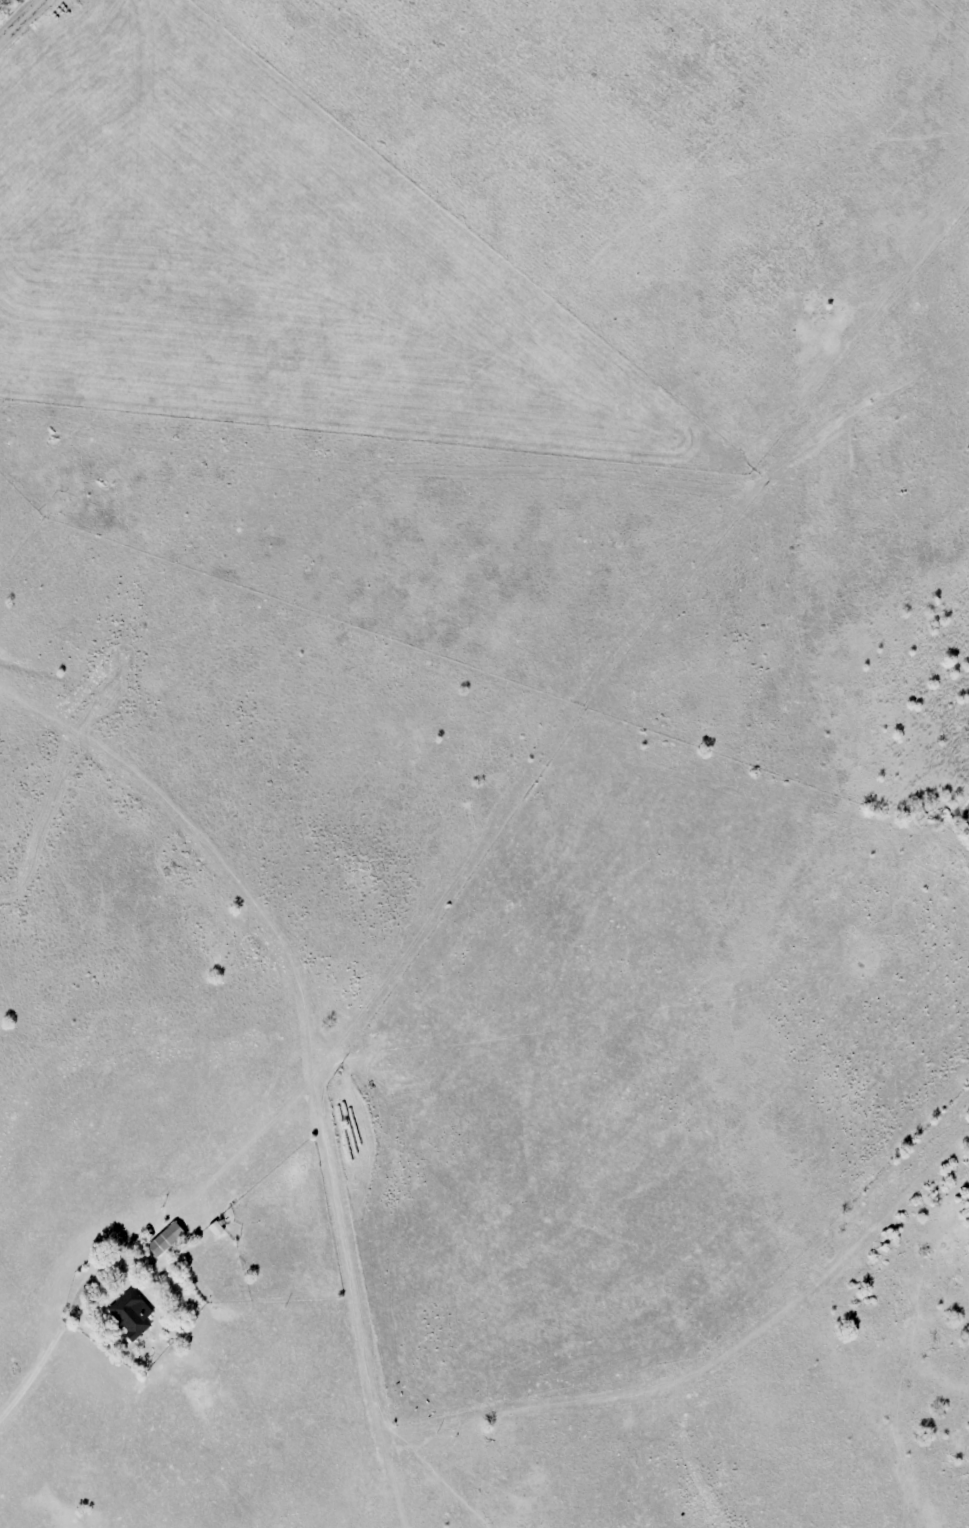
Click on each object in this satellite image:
road: (20, 20)
building: (165, 1238)
building: (129, 1314)

